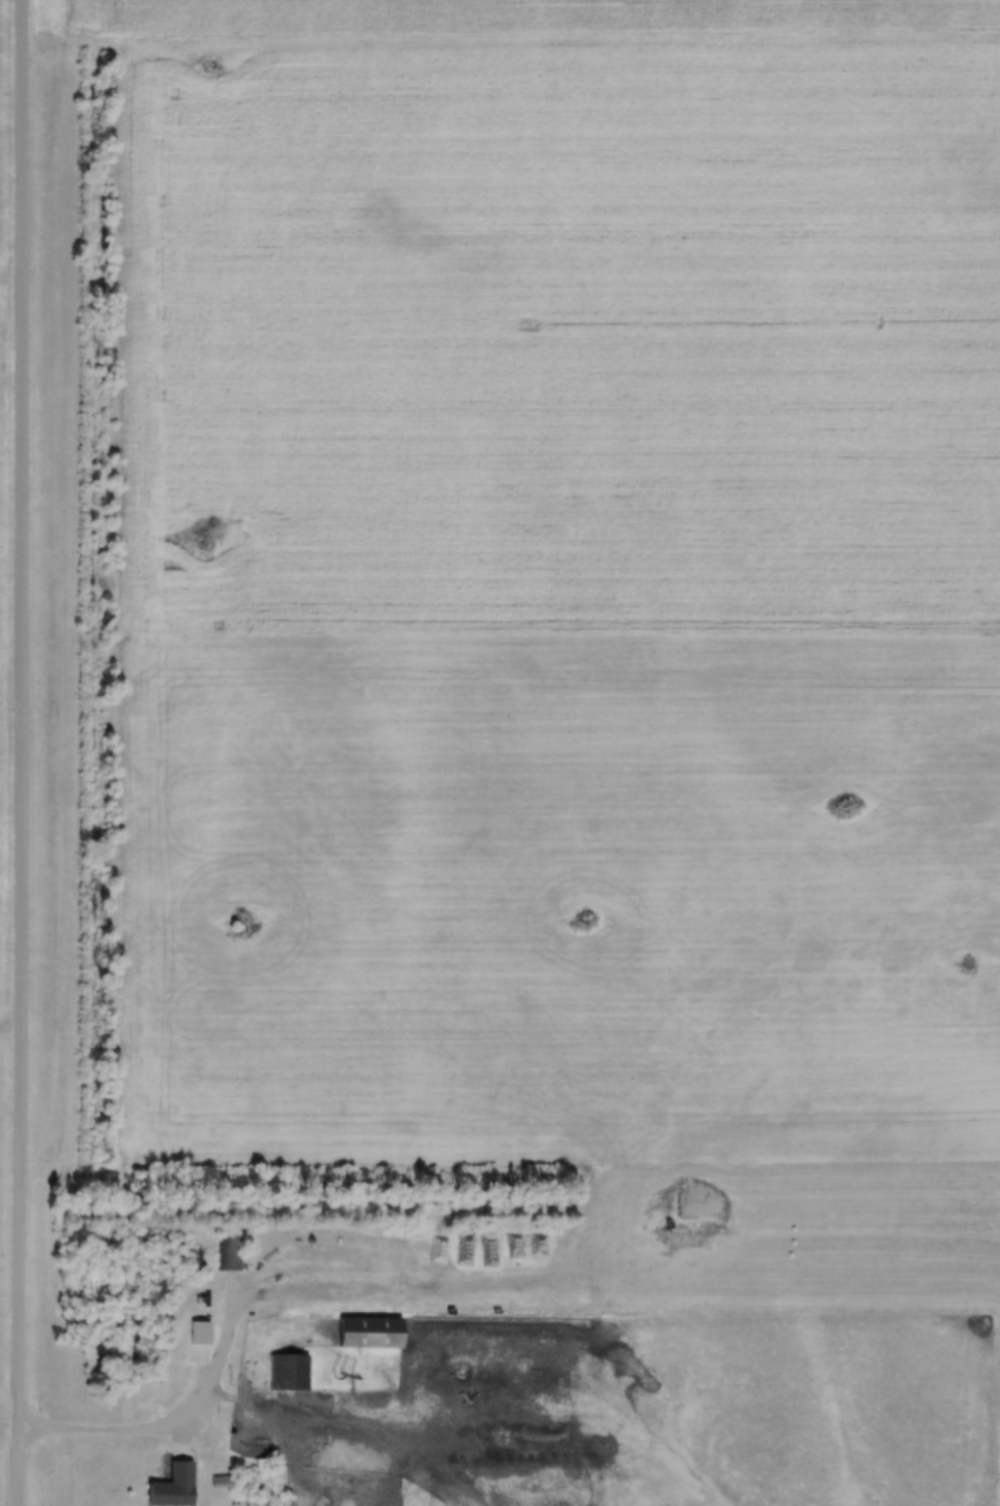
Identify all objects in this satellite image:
road: (22, 753)
building: (231, 1253)
building: (369, 1333)
building: (204, 1344)
building: (288, 1373)
road: (124, 1434)
building: (259, 1470)
building: (173, 1487)

